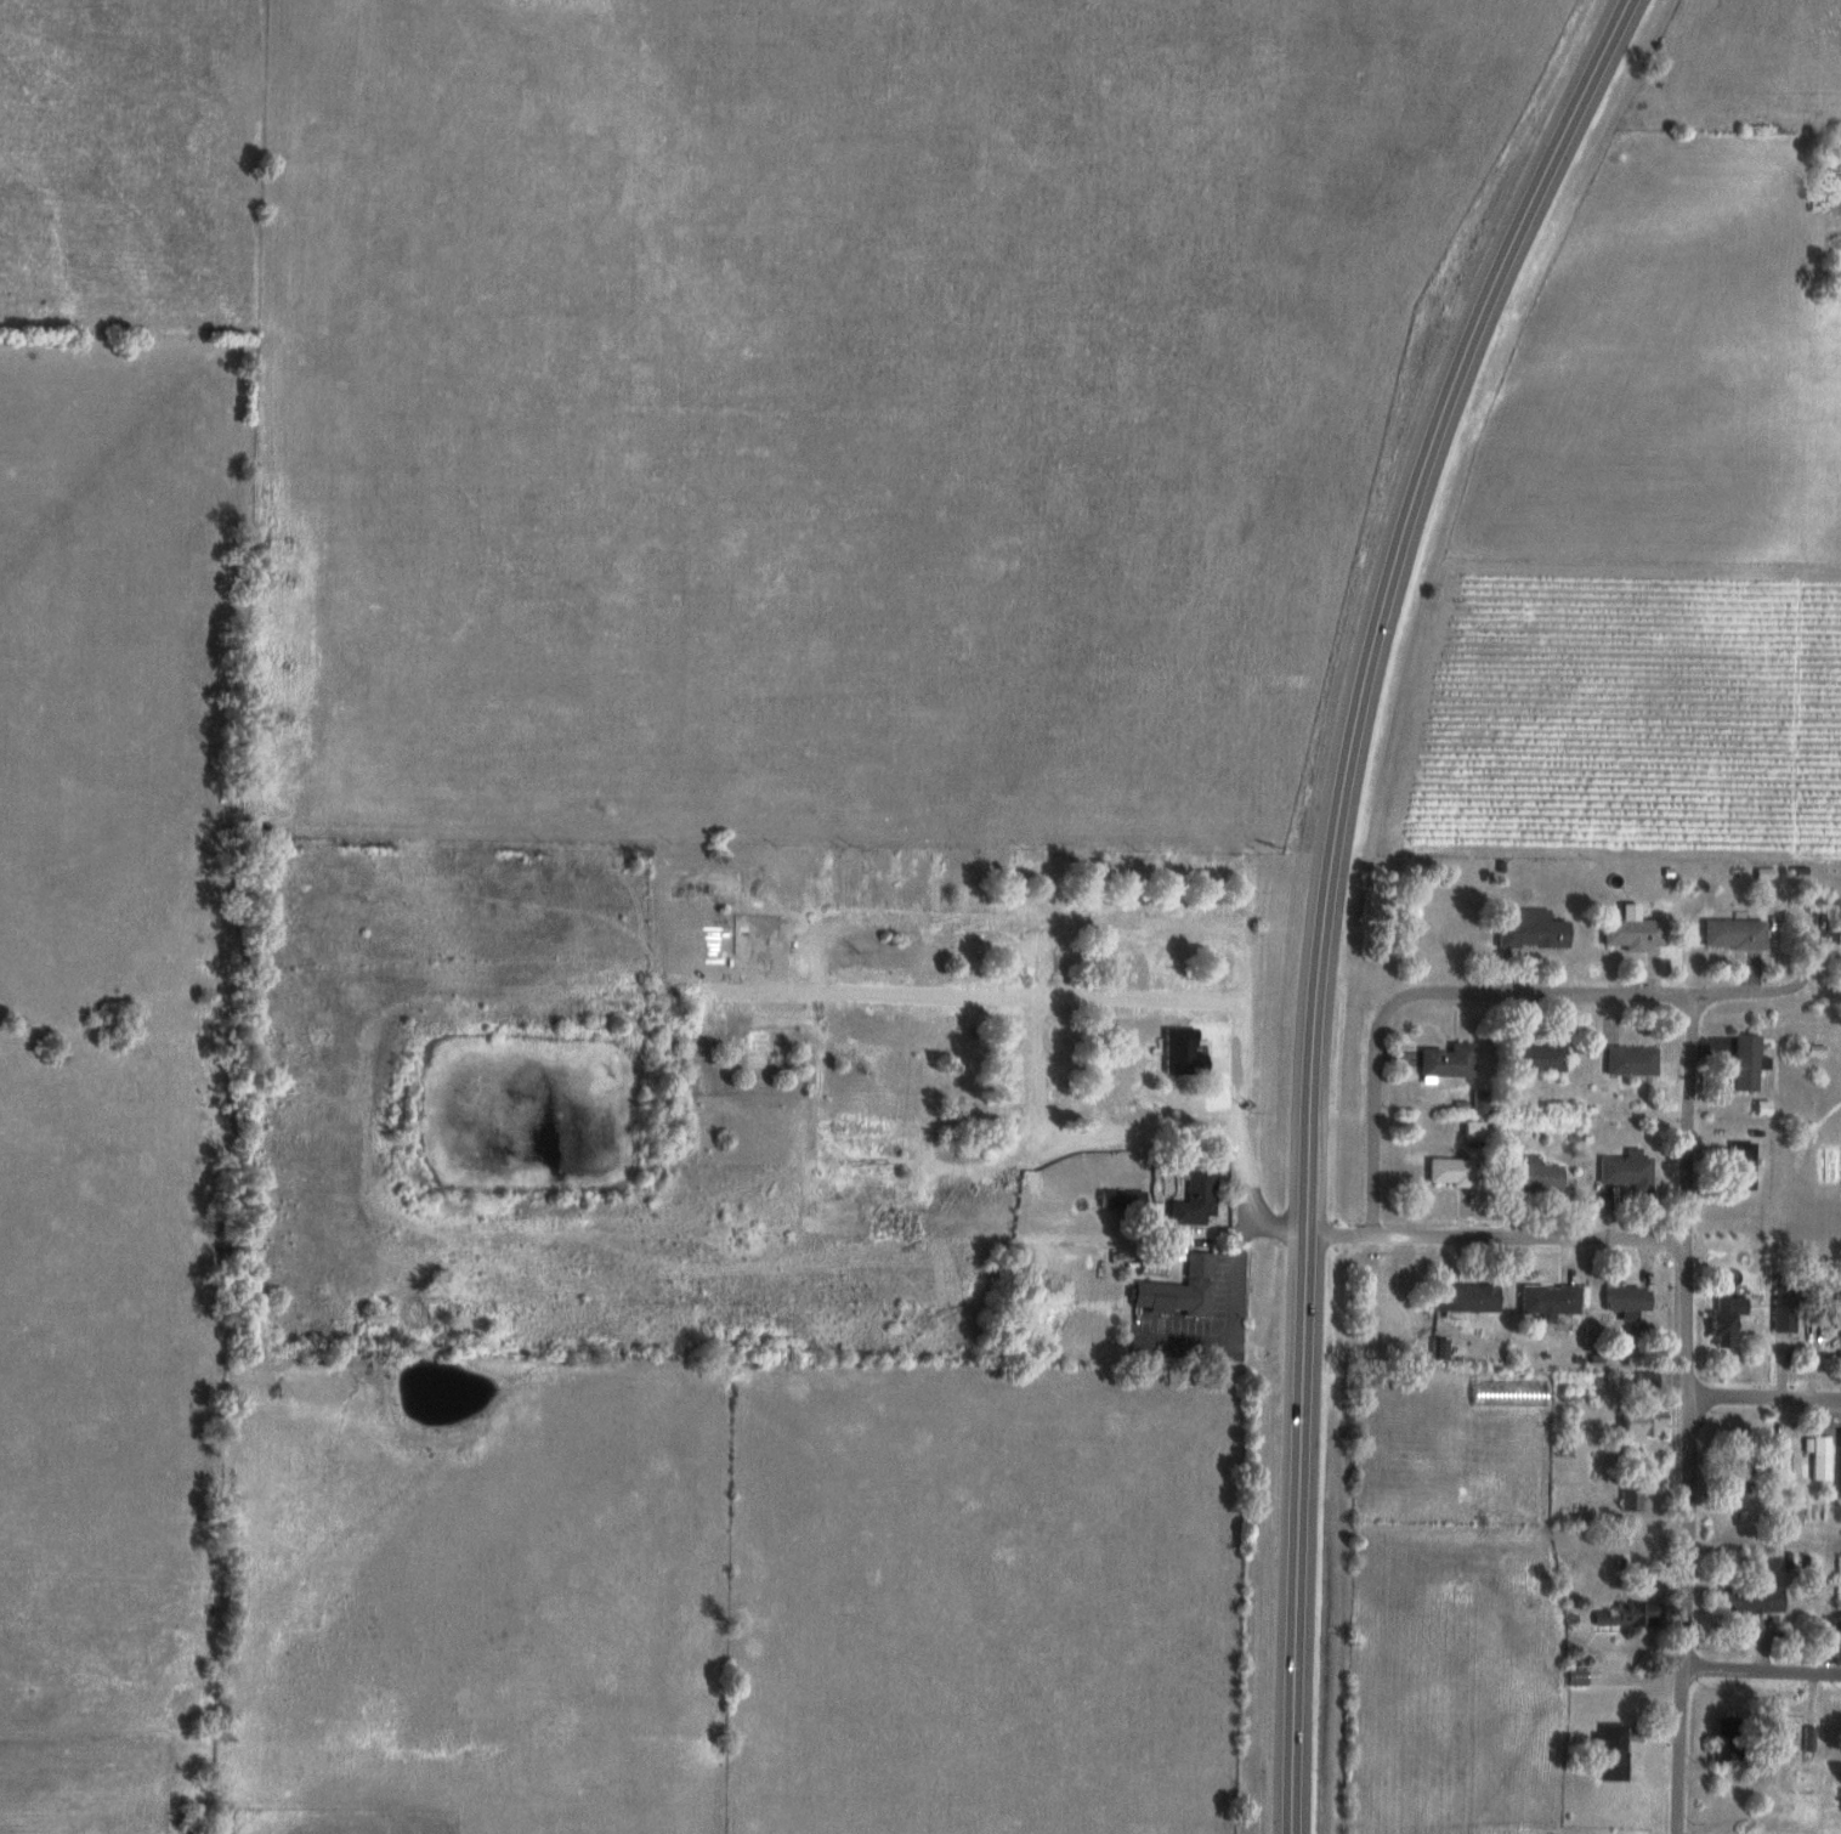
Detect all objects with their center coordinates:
building: (827, 874)
building: (865, 878)
building: (896, 879)
building: (719, 882)
building: (935, 882)
building: (1129, 883)
building: (1169, 883)
building: (1208, 887)
road: (1324, 889)
road: (1101, 924)
building: (1526, 928)
building: (1630, 933)
building: (1730, 933)
building: (982, 947)
building: (867, 977)
building: (976, 983)
road: (821, 994)
road: (1755, 997)
road: (1581, 998)
road: (1032, 1040)
building: (758, 1049)
building: (1535, 1058)
building: (1445, 1060)
building: (1627, 1060)
building: (1745, 1062)
road: (1371, 1072)
building: (980, 1083)
building: (1080, 1097)
building: (1478, 1102)
building: (985, 1120)
road: (1687, 1120)
building: (862, 1127)
building: (1471, 1130)
road: (1059, 1148)
building: (1740, 1166)
building: (1448, 1171)
building: (1625, 1171)
building: (1530, 1176)
road: (1245, 1183)
building: (1193, 1198)
building: (1120, 1200)
road: (1467, 1236)
road: (1076, 1261)
road: (1236, 1280)
building: (1179, 1290)
building: (1463, 1298)
building: (1546, 1301)
building: (1625, 1302)
building: (1781, 1309)
building: (1723, 1320)
building: (1438, 1348)
building: (1644, 1381)
road: (1762, 1402)
building: (1638, 1425)
building: (1815, 1456)
building: (1778, 1461)
building: (1839, 1464)
building: (1733, 1479)
building: (1628, 1498)
road: (1679, 1536)
building: (1752, 1602)
building: (1625, 1615)
building: (1840, 1618)
road: (1758, 1670)
building: (1575, 1676)
building: (1808, 1739)
building: (1777, 1740)
building: (1610, 1751)

